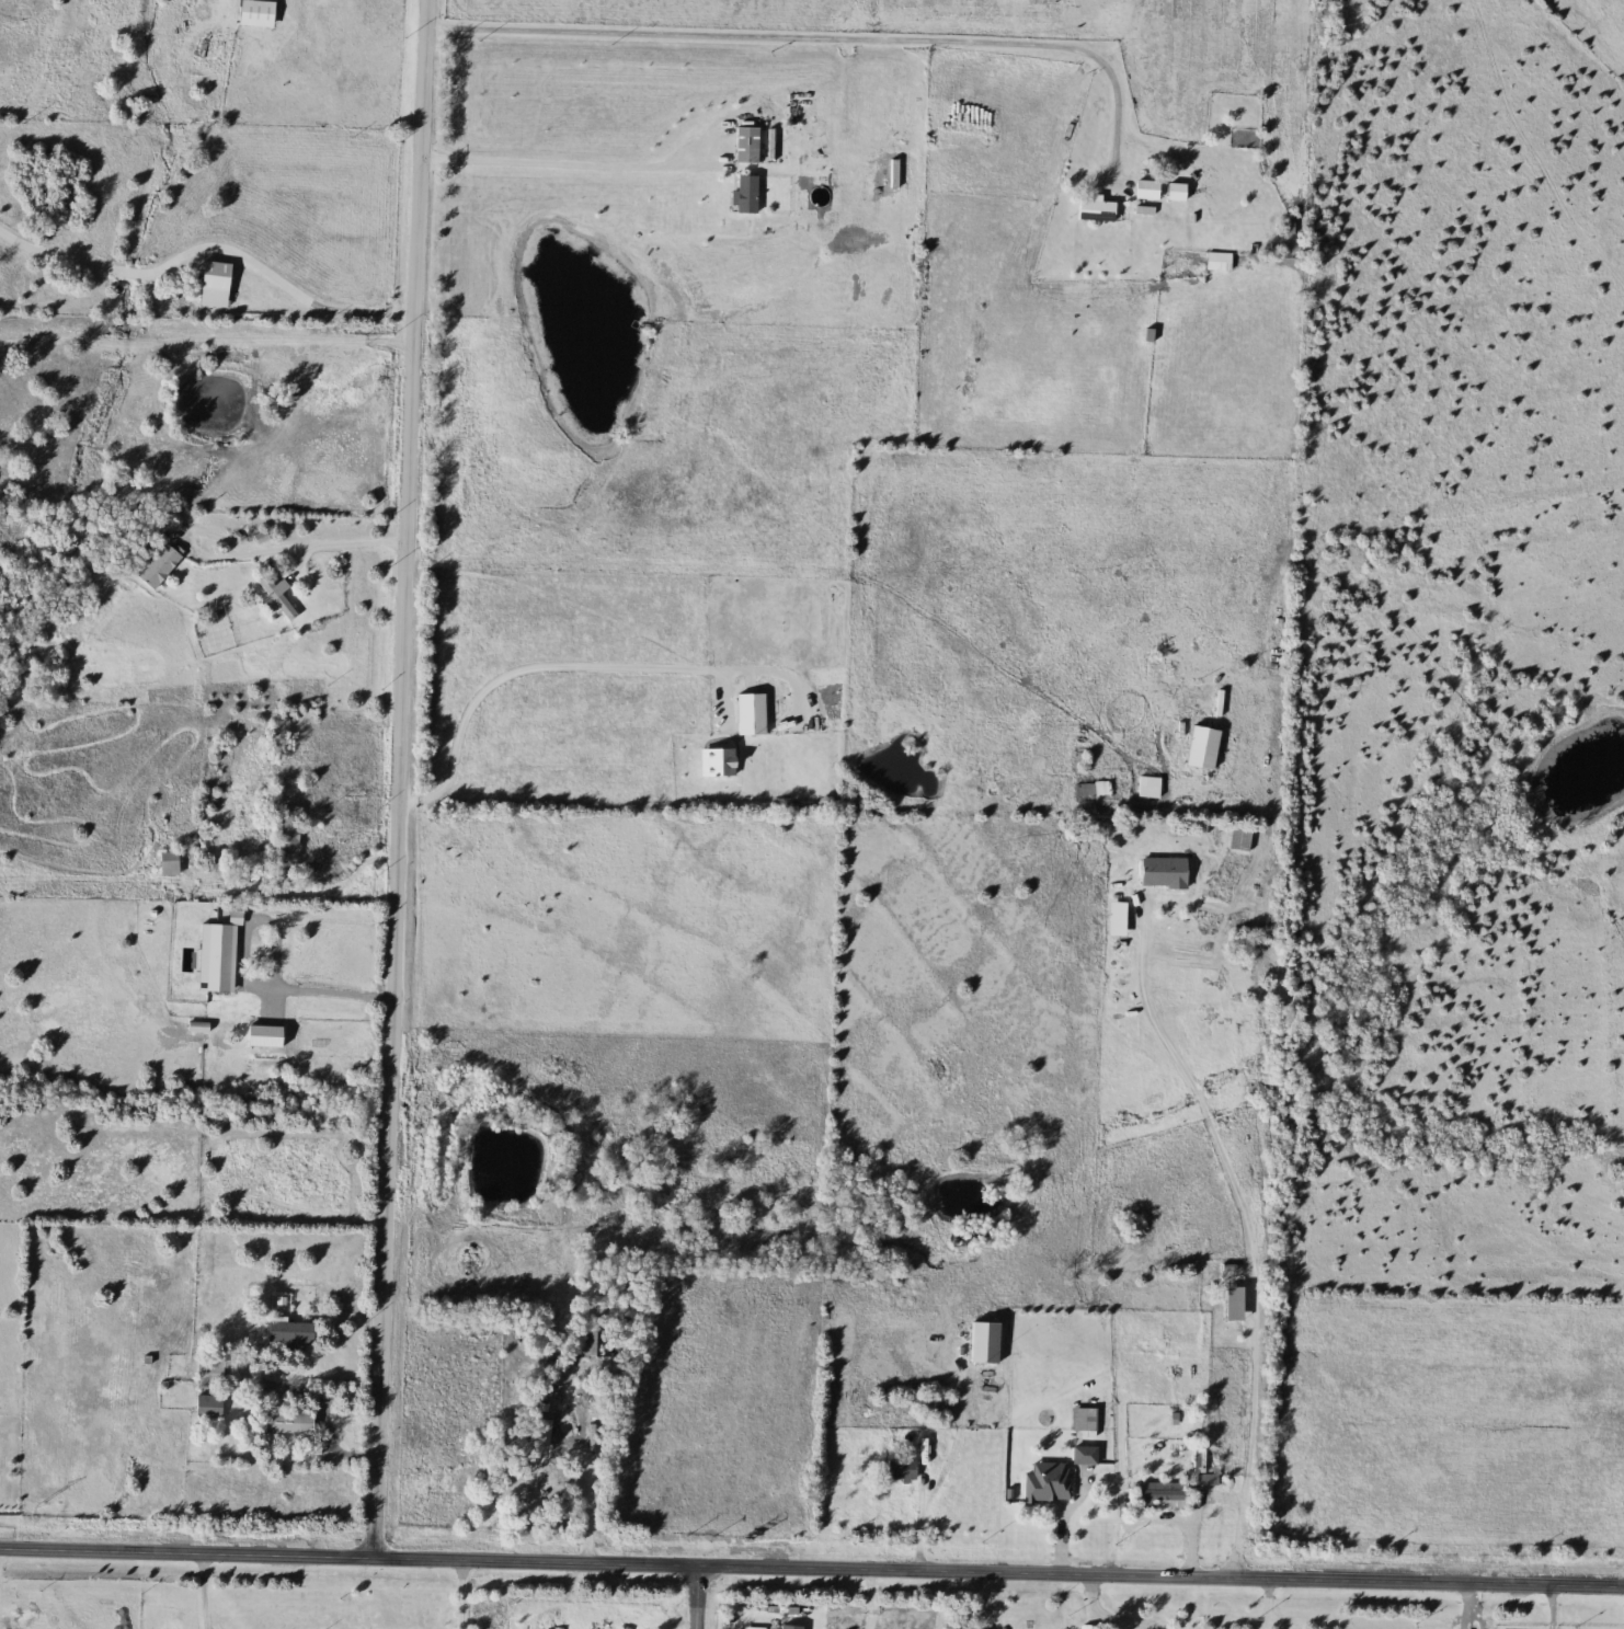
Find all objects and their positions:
building: (252, 13)
road: (821, 36)
building: (743, 146)
road: (572, 159)
building: (1144, 191)
building: (743, 194)
building: (1091, 209)
road: (206, 240)
building: (1214, 263)
building: (216, 276)
building: (206, 300)
road: (204, 337)
road: (256, 550)
building: (156, 566)
building: (275, 598)
road: (577, 664)
building: (746, 715)
building: (1198, 748)
road: (394, 778)
building: (286, 833)
building: (165, 863)
building: (1159, 873)
building: (255, 953)
road: (329, 991)
road: (1250, 1230)
building: (1225, 1301)
building: (285, 1329)
building: (981, 1342)
building: (207, 1372)
building: (205, 1407)
road: (324, 1413)
building: (1080, 1419)
building: (285, 1422)
building: (1082, 1456)
building: (897, 1470)
building: (1204, 1480)
building: (1044, 1482)
building: (1155, 1493)
road: (585, 1498)
road: (811, 1570)
road: (211, 1588)
road: (470, 1595)
road: (697, 1598)
road: (1267, 1605)
road: (1474, 1607)
road: (1108, 1618)
building: (951, 1627)

